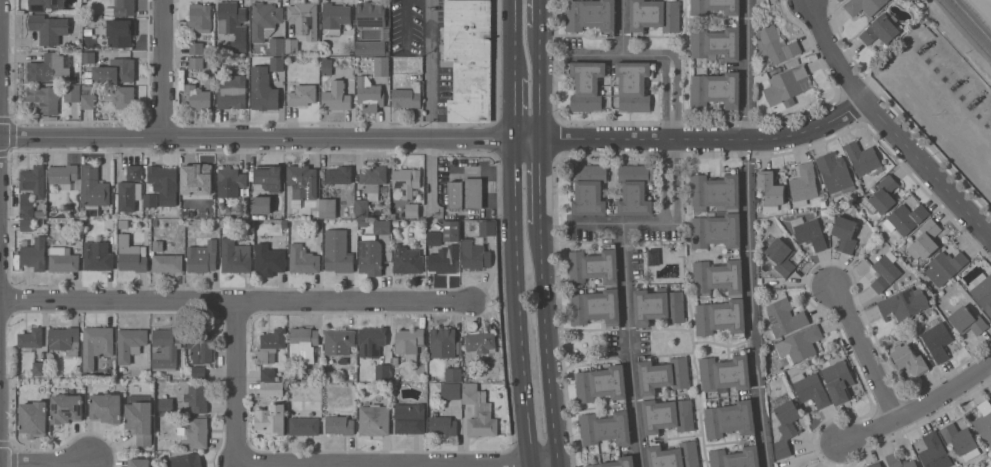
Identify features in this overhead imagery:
building: (42, 4)
building: (863, 6)
building: (124, 7)
building: (371, 13)
road: (541, 13)
railway: (978, 13)
building: (590, 15)
building: (654, 15)
building: (335, 16)
building: (200, 17)
building: (264, 19)
building: (304, 19)
railway: (972, 19)
building: (233, 24)
railway: (966, 27)
building: (48, 28)
building: (879, 29)
building: (698, 30)
building: (119, 32)
road: (514, 39)
building: (775, 44)
petroleum well: (925, 44)
building: (291, 45)
building: (276, 46)
building: (370, 47)
building: (198, 48)
road: (620, 52)
building: (88, 56)
building: (468, 58)
building: (196, 62)
building: (277, 63)
building: (326, 65)
building: (381, 65)
building: (43, 67)
road: (161, 68)
road: (432, 69)
building: (115, 71)
building: (772, 72)
building: (760, 76)
petroleum well: (956, 82)
road: (539, 83)
building: (587, 84)
building: (634, 85)
building: (785, 86)
building: (263, 89)
building: (716, 89)
building: (72, 92)
building: (233, 92)
building: (369, 92)
building: (302, 95)
road: (679, 95)
building: (87, 96)
building: (198, 96)
building: (336, 96)
building: (407, 96)
building: (124, 97)
road: (666, 97)
building: (45, 100)
petroleum well: (973, 101)
road: (513, 108)
road: (931, 115)
road: (890, 123)
road: (438, 138)
road: (0, 150)
building: (863, 158)
building: (134, 172)
building: (835, 172)
building: (339, 174)
building: (64, 175)
building: (269, 177)
building: (197, 178)
building: (34, 180)
building: (406, 180)
building: (230, 181)
road: (539, 181)
road: (666, 181)
building: (164, 183)
building: (302, 183)
building: (804, 184)
road: (677, 185)
building: (370, 187)
building: (94, 189)
building: (770, 190)
building: (589, 192)
building: (466, 193)
building: (129, 195)
building: (882, 196)
building: (26, 198)
building: (150, 200)
building: (861, 200)
building: (823, 203)
building: (261, 206)
building: (327, 208)
building: (412, 210)
building: (27, 211)
building: (905, 218)
building: (832, 219)
building: (363, 223)
road: (617, 223)
building: (27, 224)
building: (124, 224)
building: (487, 227)
building: (452, 230)
building: (809, 232)
road: (748, 234)
building: (844, 234)
building: (434, 237)
building: (924, 241)
building: (158, 245)
building: (376, 246)
building: (337, 251)
building: (737, 253)
building: (35, 254)
building: (131, 254)
building: (475, 254)
building: (97, 255)
building: (202, 256)
building: (235, 256)
building: (653, 256)
building: (781, 256)
building: (271, 258)
building: (63, 259)
building: (303, 259)
building: (444, 259)
building: (407, 260)
building: (168, 262)
building: (944, 266)
building: (885, 270)
building: (760, 284)
building: (610, 285)
building: (982, 290)
road: (236, 301)
road: (518, 302)
building: (903, 303)
building: (658, 305)
building: (784, 316)
building: (967, 320)
building: (31, 337)
building: (65, 339)
building: (340, 339)
building: (937, 339)
building: (372, 340)
building: (408, 342)
building: (442, 342)
building: (481, 342)
building: (130, 343)
building: (303, 343)
building: (802, 343)
building: (96, 344)
road: (546, 344)
building: (270, 345)
road: (628, 345)
building: (166, 346)
building: (201, 347)
road: (864, 352)
building: (909, 359)
building: (39, 368)
building: (199, 371)
building: (383, 371)
building: (725, 372)
building: (268, 374)
building: (453, 374)
building: (838, 380)
road: (239, 384)
building: (271, 388)
building: (811, 389)
building: (450, 390)
building: (197, 397)
building: (623, 404)
building: (166, 405)
road: (918, 406)
building: (66, 407)
building: (106, 407)
building: (479, 411)
building: (667, 411)
building: (140, 417)
building: (410, 417)
building: (34, 418)
building: (271, 419)
building: (373, 419)
building: (983, 419)
building: (785, 423)
building: (339, 424)
building: (304, 425)
building: (443, 425)
building: (197, 432)
building: (714, 432)
building: (960, 440)
building: (933, 451)
building: (984, 455)
building: (186, 460)
road: (45, 461)
building: (899, 461)
building: (139, 462)
building: (616, 462)
building: (875, 464)
road: (386, 466)
road: (531, 466)
road: (544, 466)
road: (558, 466)

